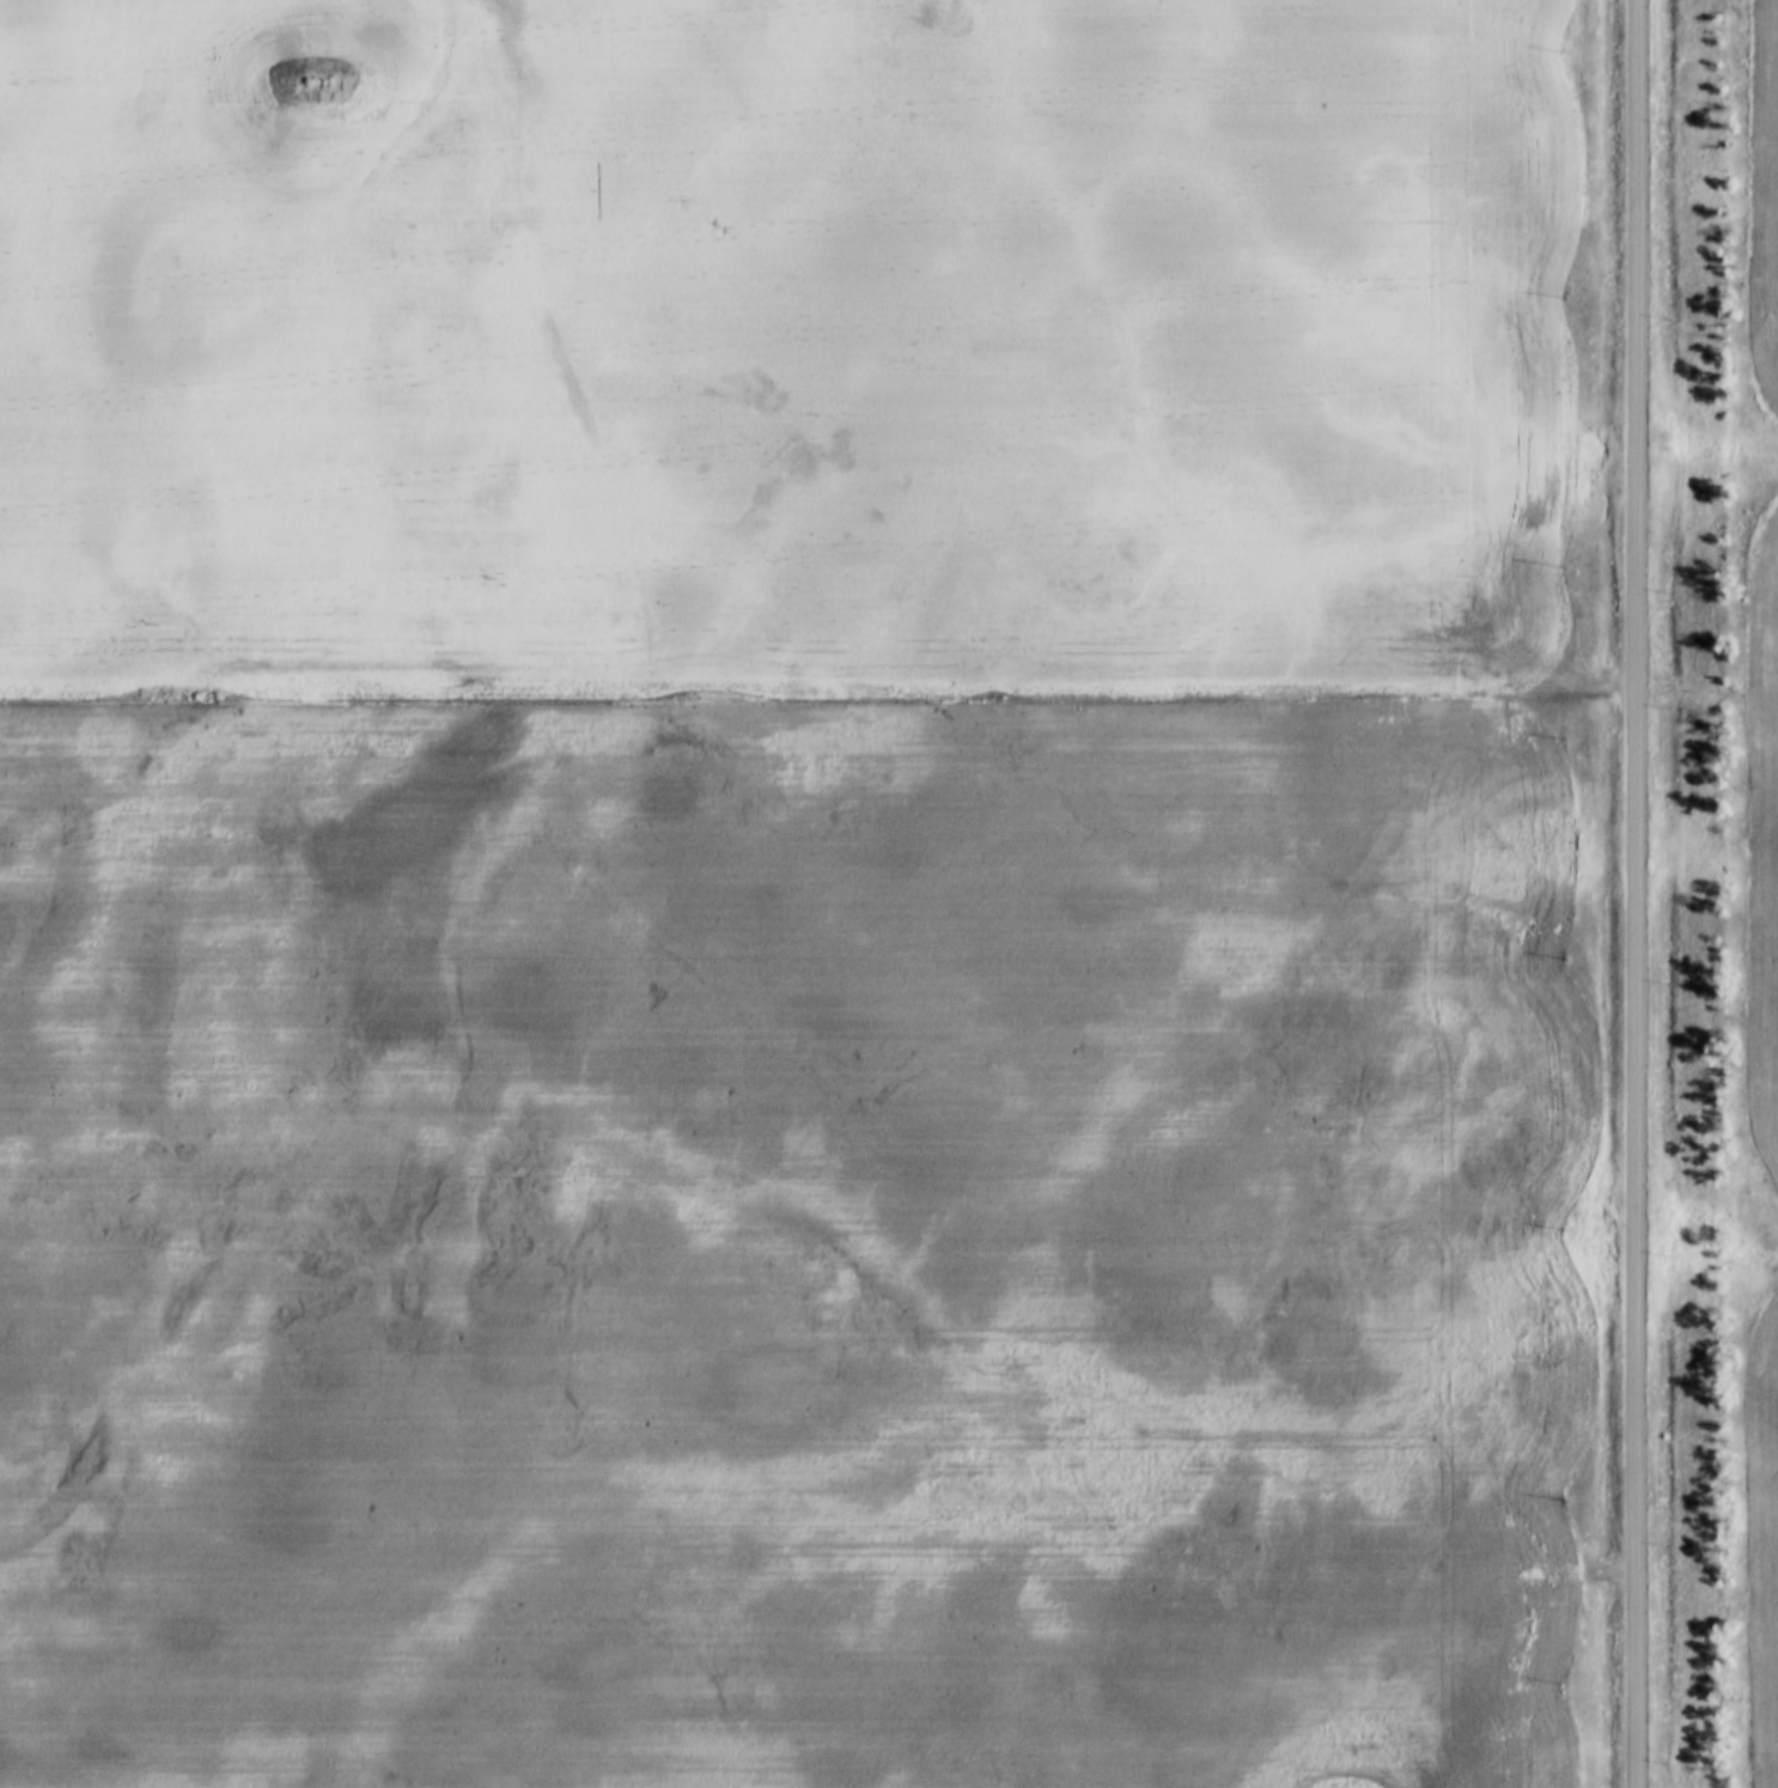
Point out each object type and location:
road: (1638, 893)

